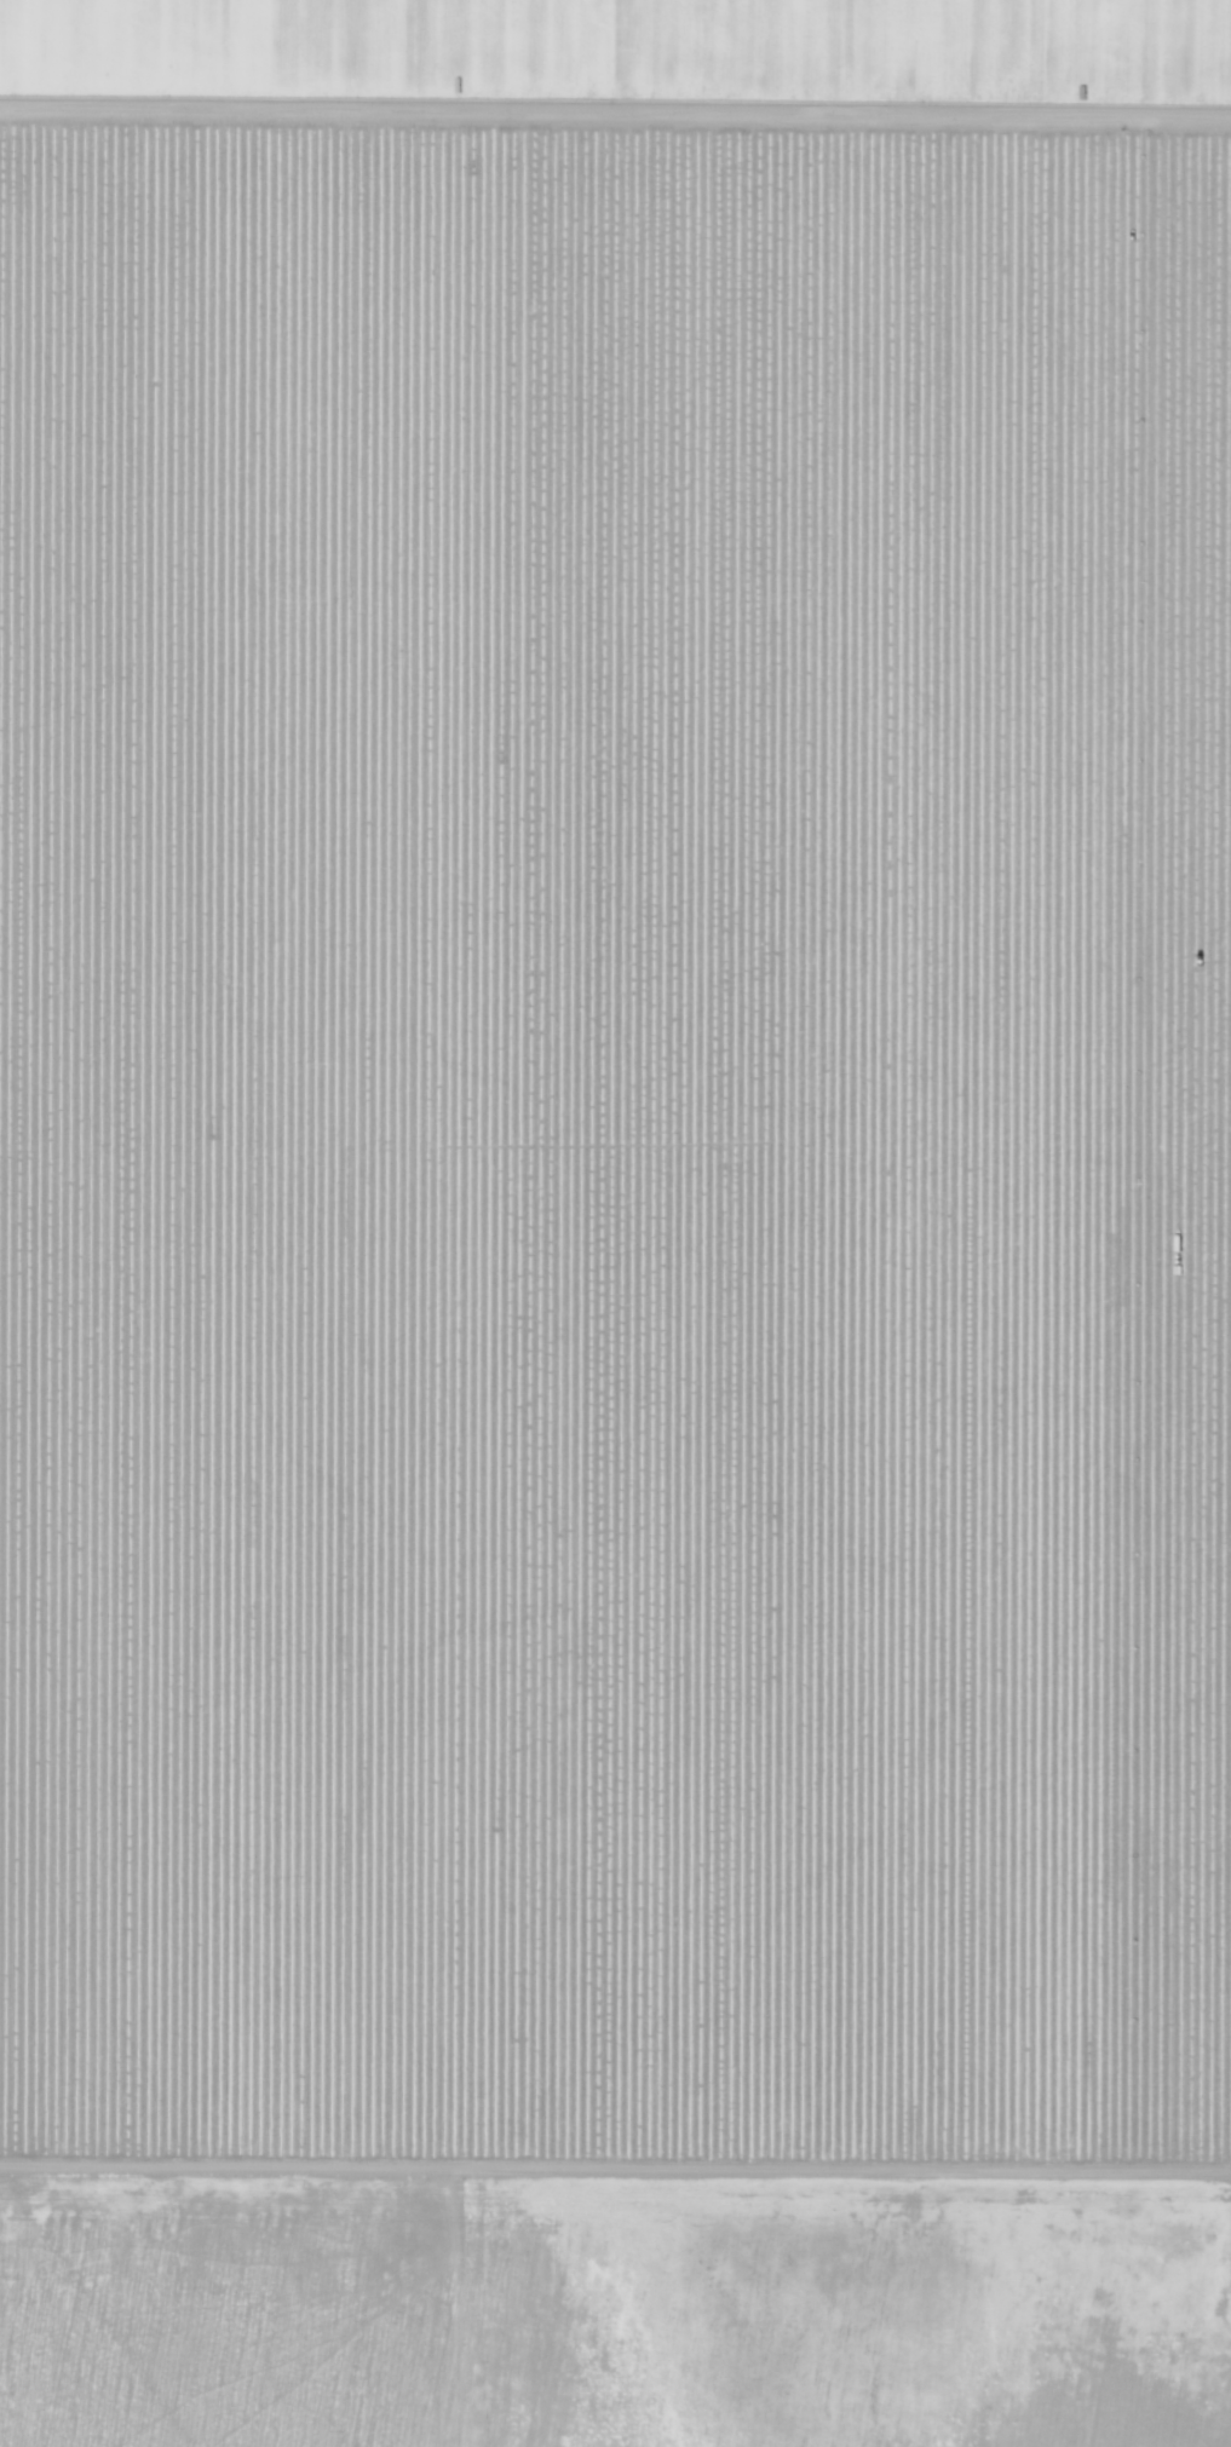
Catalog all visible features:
crop: (616, 63)
road: (615, 115)
road: (615, 2163)

